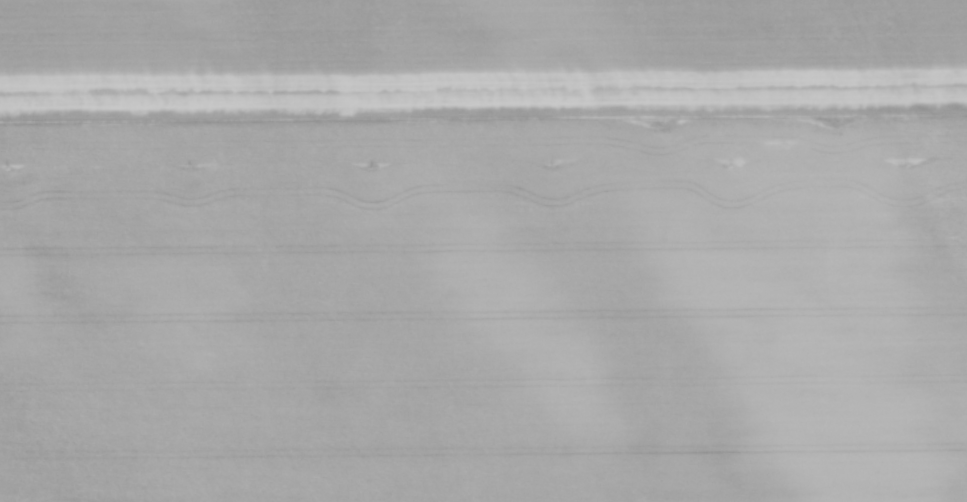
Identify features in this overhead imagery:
crop: (483, 251)

